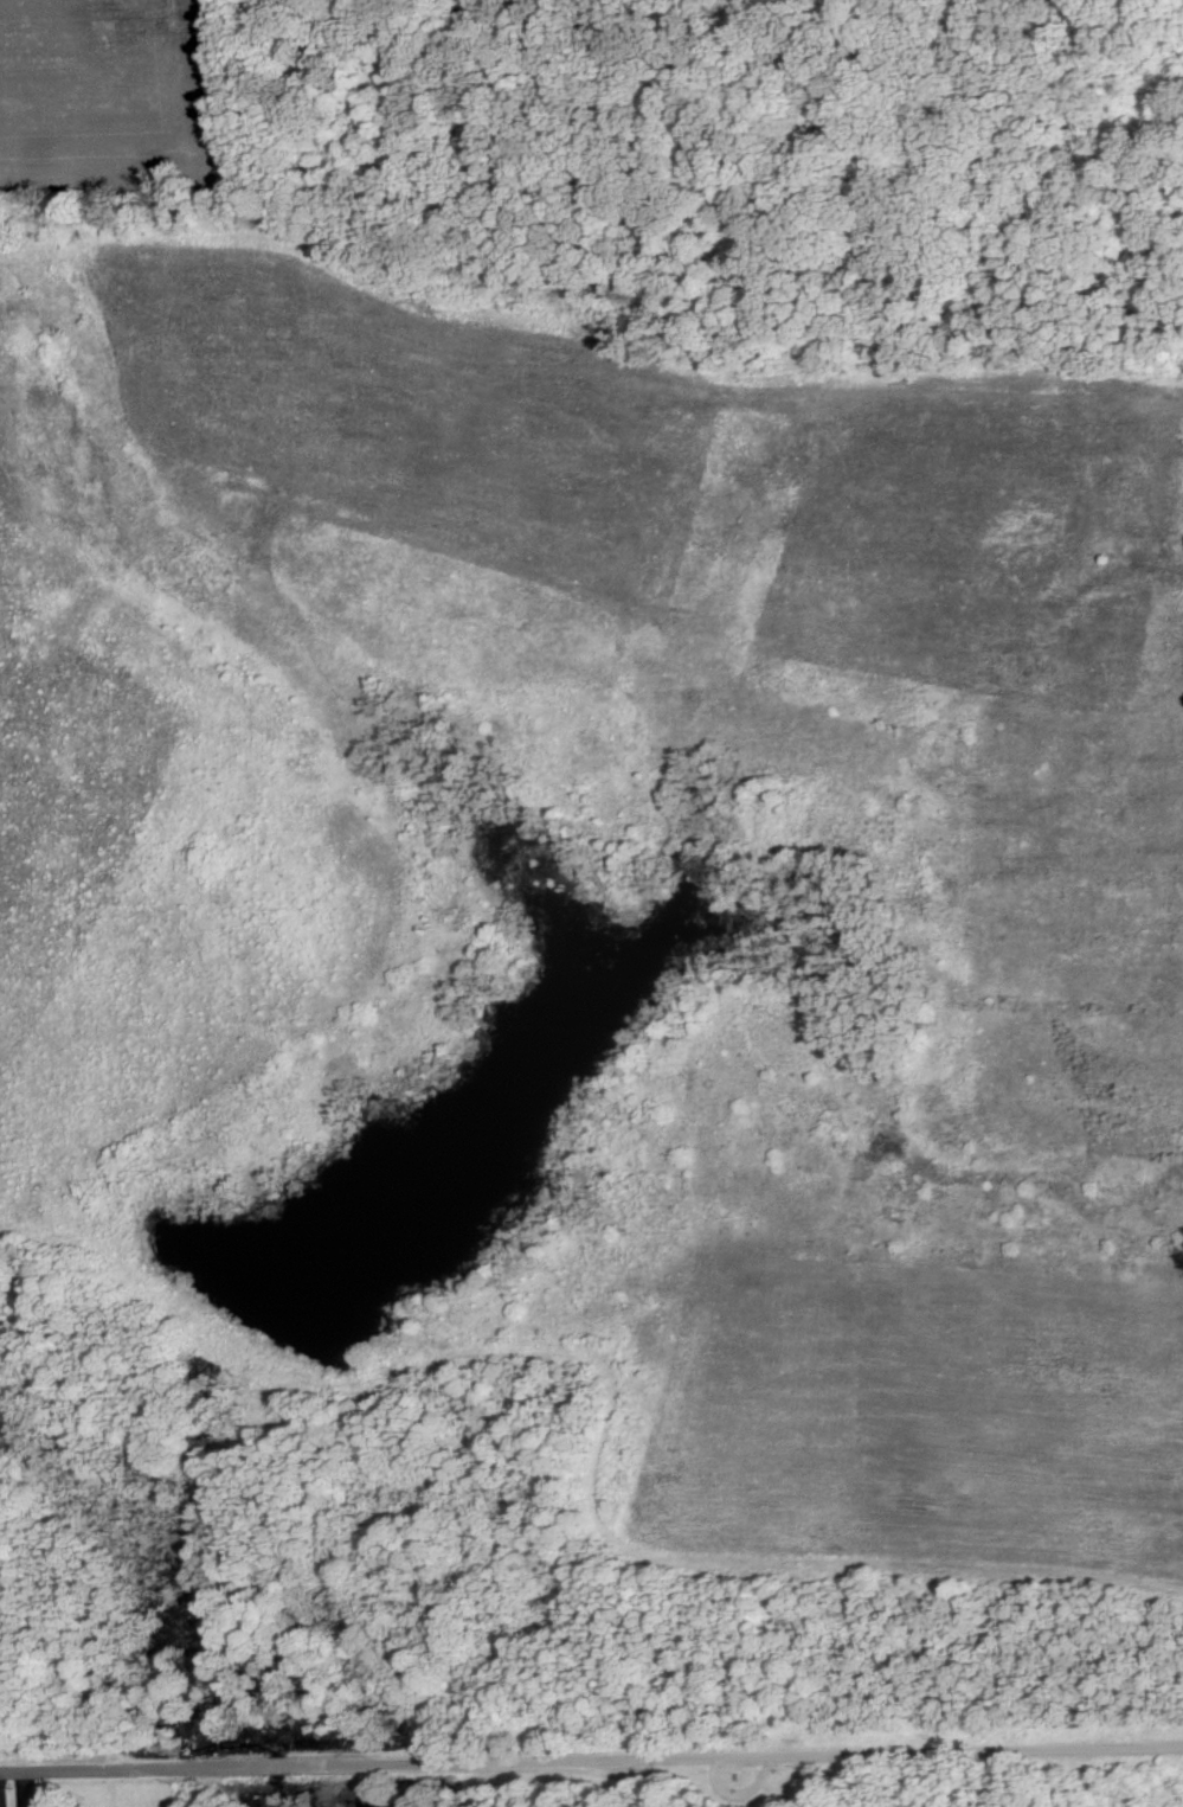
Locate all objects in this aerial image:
park: (593, 899)
road: (701, 1754)
road: (110, 1770)

